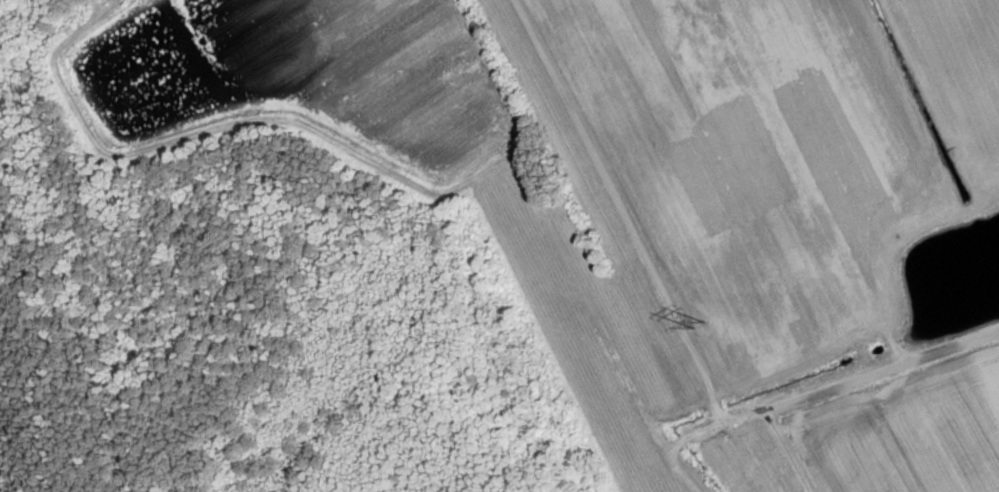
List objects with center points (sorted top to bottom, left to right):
power tower: (699, 325)

